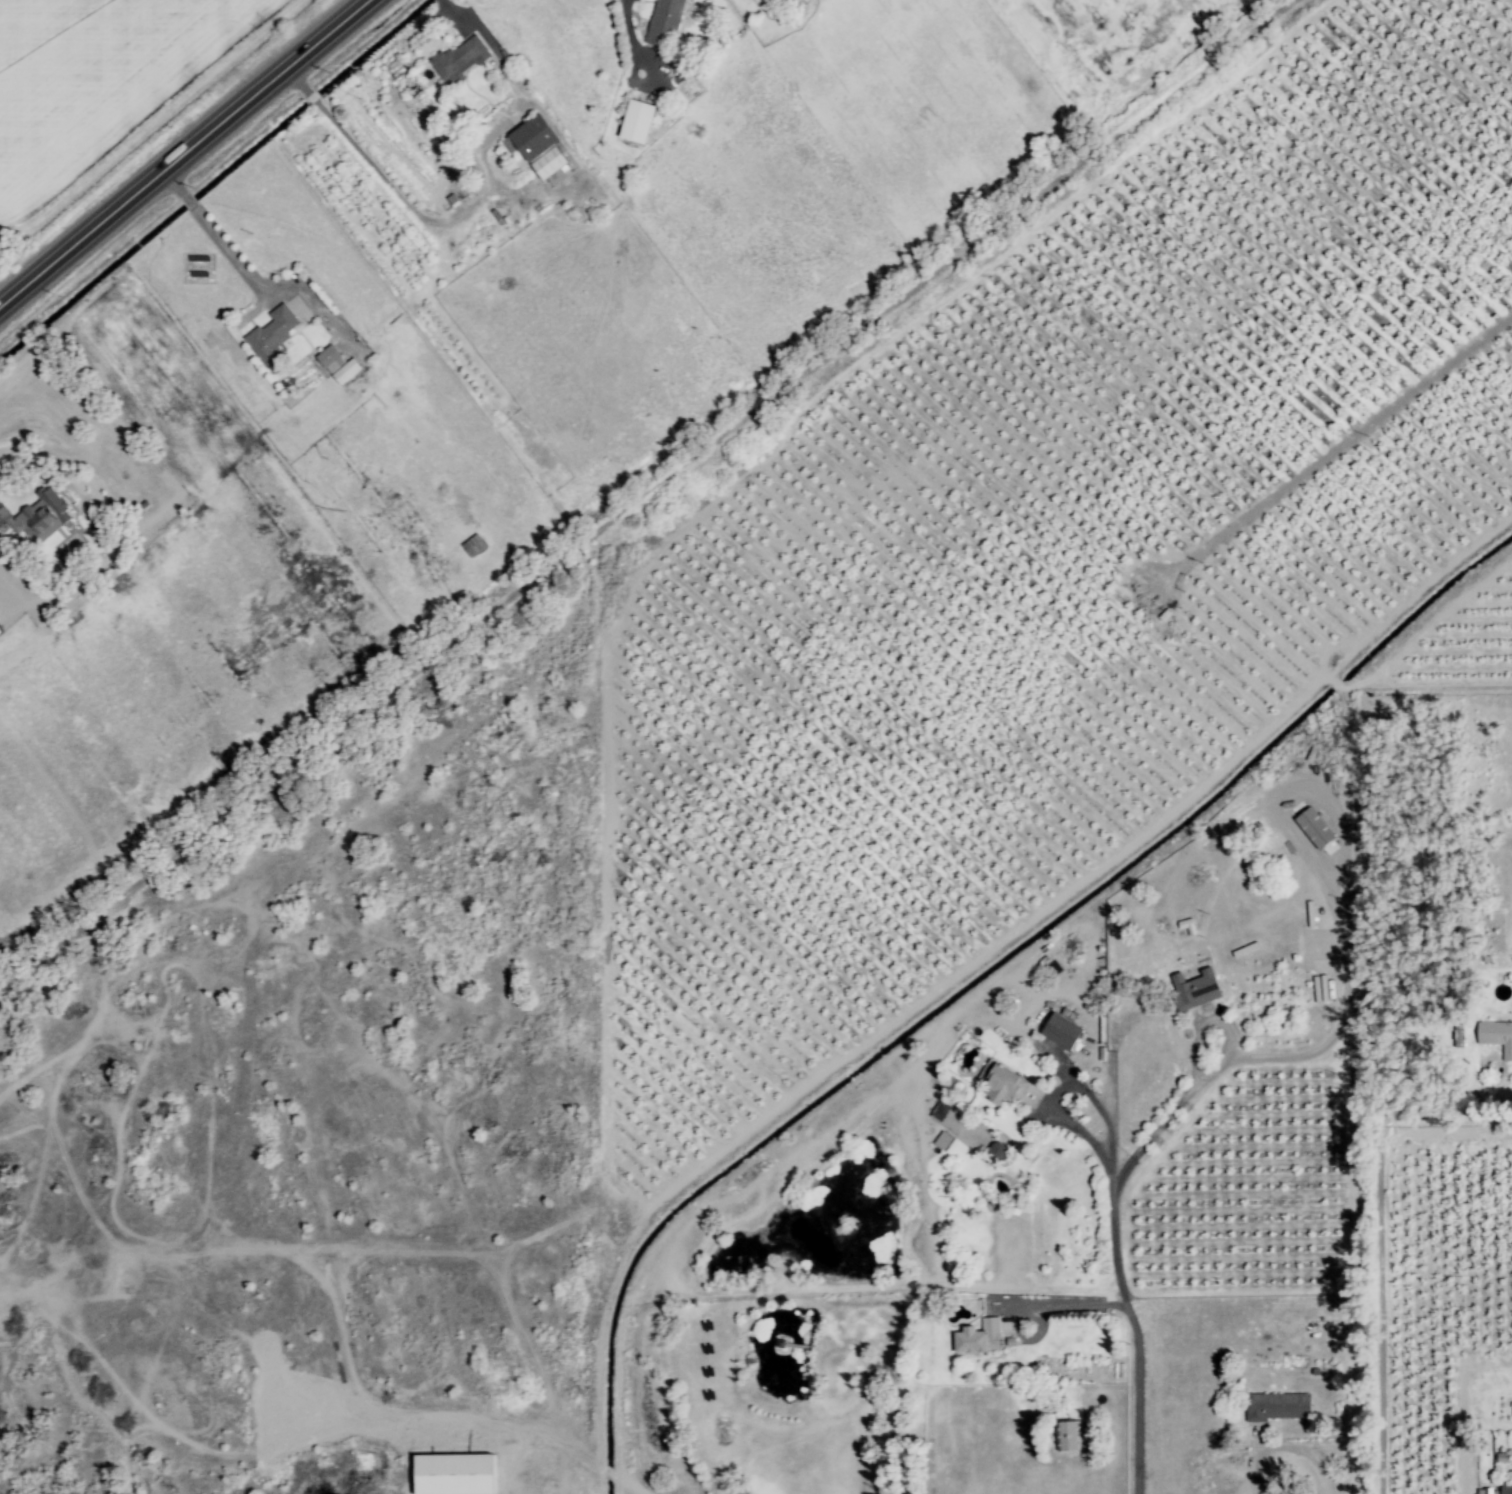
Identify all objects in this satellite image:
building: (779, 1)
road: (472, 20)
building: (661, 21)
road: (628, 24)
building: (459, 60)
road: (298, 81)
road: (310, 97)
building: (634, 123)
building: (530, 139)
road: (187, 155)
building: (547, 165)
road: (459, 216)
road: (215, 234)
building: (270, 334)
building: (328, 359)
building: (344, 373)
building: (3, 515)
building: (41, 516)
building: (1312, 828)
building: (1192, 990)
building: (1059, 1032)
building: (1495, 1037)
road: (1201, 1085)
building: (1003, 1086)
road: (1049, 1102)
road: (1114, 1110)
building: (947, 1119)
road: (1382, 1272)
road: (1076, 1302)
building: (977, 1339)
road: (1136, 1343)
building: (1276, 1407)
building: (1066, 1437)
road: (1290, 1452)
building: (1507, 1488)
building: (1486, 1492)

